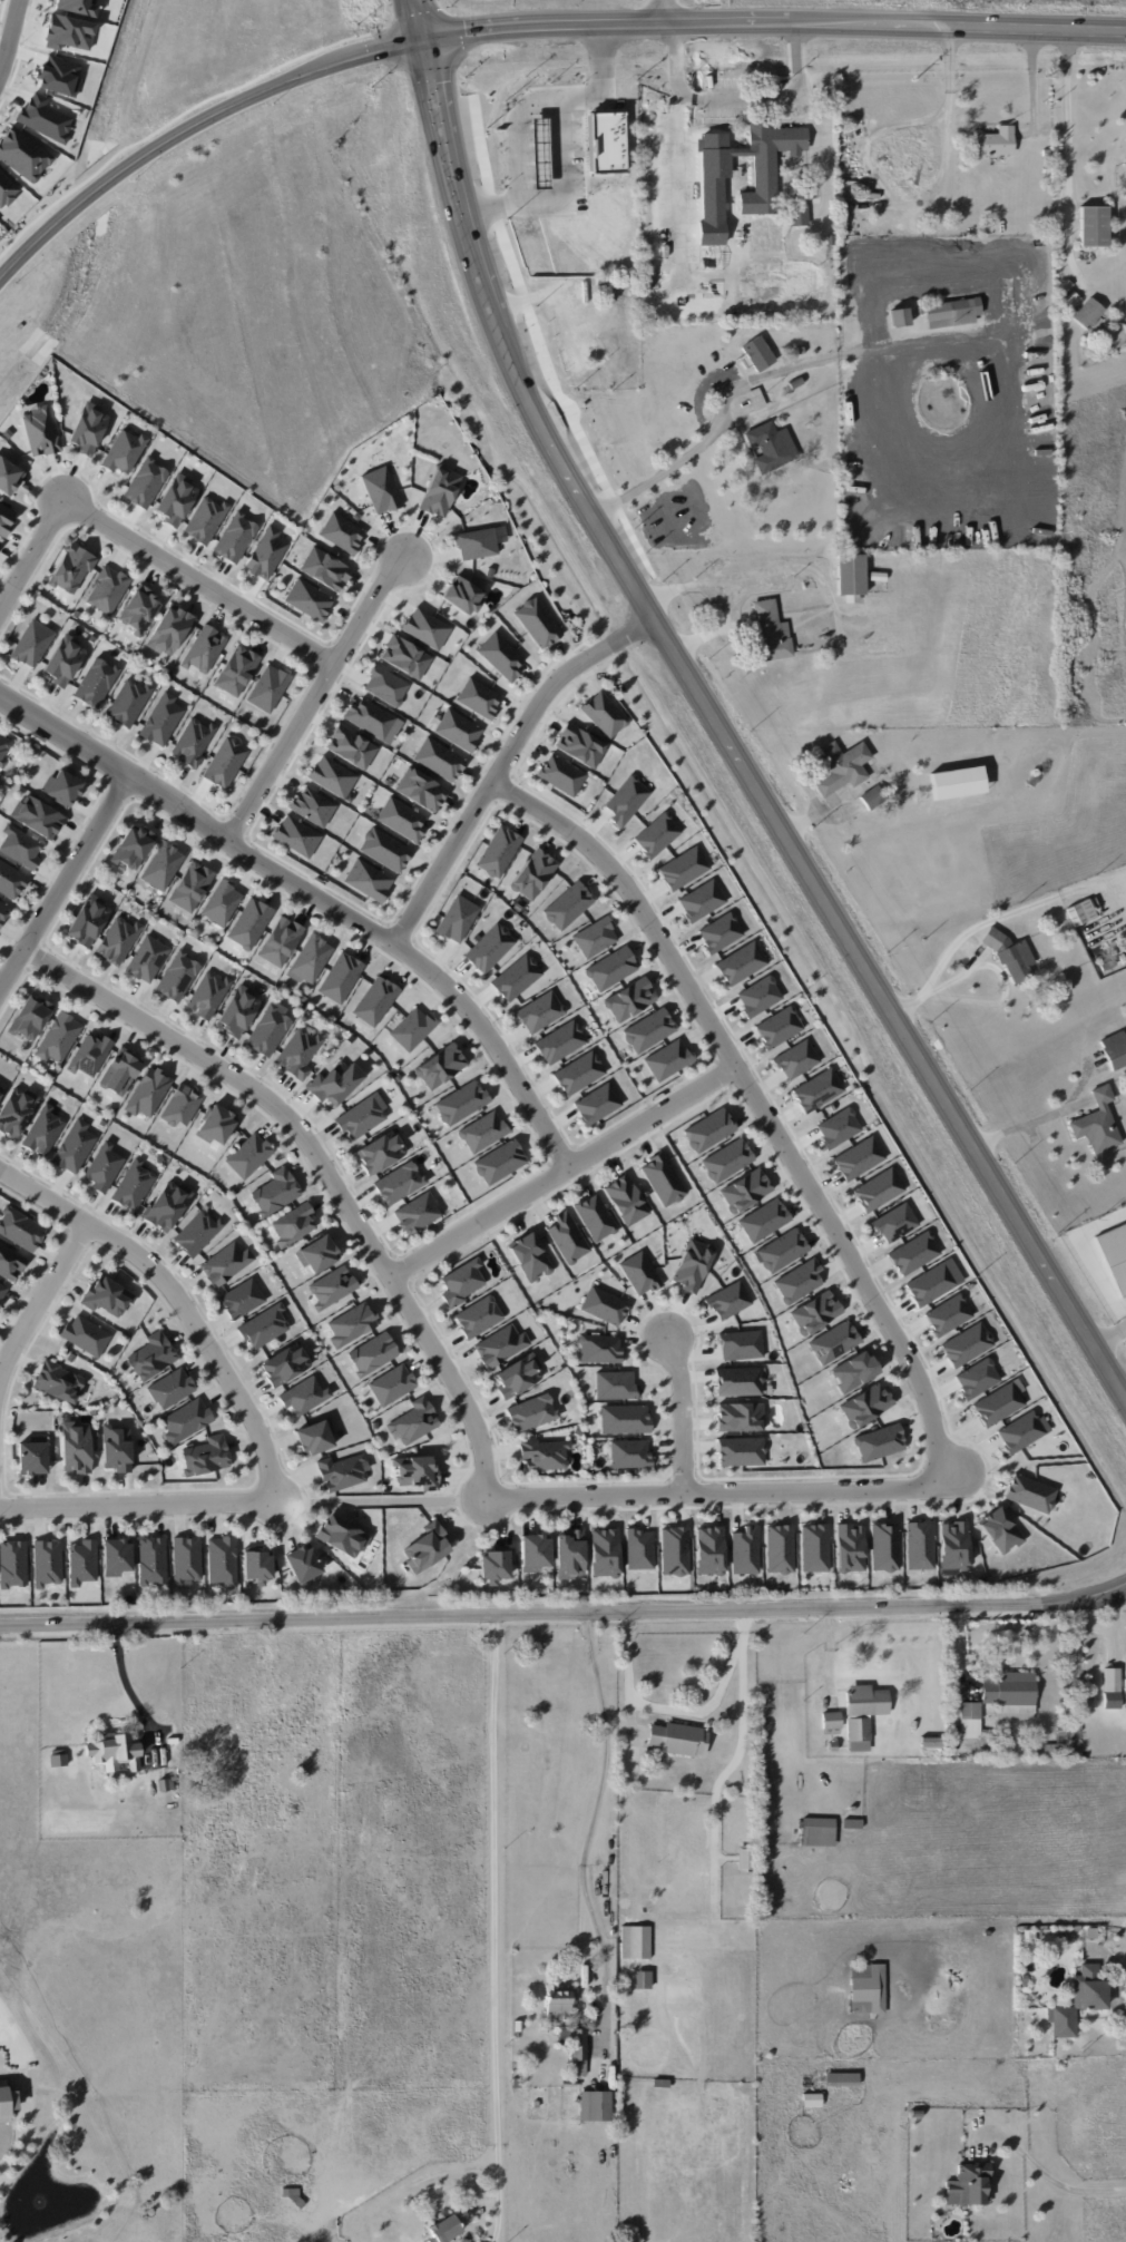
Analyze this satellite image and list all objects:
road: (664, 11)
road: (4, 19)
road: (773, 25)
traffic signals: (421, 36)
road: (1034, 80)
parking lot: (743, 98)
road: (736, 99)
road: (437, 107)
road: (557, 114)
road: (820, 116)
road: (193, 126)
building: (1125, 131)
road: (515, 133)
parking lot: (820, 134)
building: (607, 141)
building: (995, 141)
building: (539, 153)
gas station: (539, 153)
road: (1068, 157)
building: (767, 163)
building: (7, 189)
road: (488, 206)
building: (797, 213)
building: (1093, 225)
building: (830, 239)
building: (952, 312)
building: (1087, 313)
building: (899, 316)
building: (757, 353)
road: (768, 373)
building: (87, 428)
building: (39, 432)
building: (771, 446)
building: (123, 451)
building: (9, 476)
building: (145, 482)
building: (380, 490)
building: (439, 491)
building: (176, 499)
building: (6, 518)
building: (205, 519)
building: (341, 532)
building: (235, 537)
building: (0, 542)
building: (476, 544)
road: (30, 547)
building: (265, 552)
building: (71, 569)
building: (324, 569)
building: (850, 577)
road: (197, 578)
building: (107, 589)
building: (462, 595)
building: (307, 599)
building: (138, 609)
building: (537, 623)
building: (425, 628)
building: (169, 629)
building: (770, 632)
building: (31, 643)
building: (204, 649)
building: (404, 656)
building: (500, 656)
building: (63, 660)
building: (236, 670)
building: (96, 682)
building: (385, 685)
building: (267, 688)
road: (313, 694)
building: (478, 697)
building: (128, 702)
building: (604, 714)
building: (370, 717)
building: (161, 719)
building: (458, 730)
building: (193, 741)
building: (579, 745)
building: (4, 746)
building: (351, 746)
road: (502, 757)
building: (439, 760)
building: (225, 762)
building: (842, 766)
building: (560, 774)
building: (332, 776)
building: (957, 782)
building: (61, 787)
building: (420, 789)
building: (872, 796)
building: (626, 800)
building: (312, 806)
building: (37, 816)
road: (773, 818)
building: (401, 819)
building: (656, 834)
building: (296, 835)
building: (20, 846)
building: (133, 846)
building: (384, 850)
building: (498, 851)
building: (161, 865)
building: (683, 868)
building: (532, 874)
building: (10, 880)
building: (368, 880)
road: (65, 881)
building: (190, 887)
road: (317, 893)
building: (701, 900)
building: (222, 902)
building: (567, 905)
building: (3, 910)
building: (1080, 912)
building: (457, 919)
building: (88, 920)
building: (249, 923)
road: (972, 929)
building: (719, 932)
building: (595, 937)
building: (117, 940)
building: (280, 941)
building: (489, 948)
building: (1011, 957)
building: (147, 959)
building: (310, 959)
building: (741, 962)
building: (610, 968)
building: (177, 976)
building: (516, 977)
building: (340, 978)
building: (207, 995)
building: (758, 996)
building: (629, 999)
building: (375, 1000)
building: (237, 1010)
building: (540, 1011)
building: (30, 1017)
building: (779, 1027)
building: (411, 1029)
building: (267, 1030)
building: (648, 1030)
building: (58, 1037)
building: (560, 1041)
building: (1114, 1049)
building: (297, 1053)
building: (89, 1055)
building: (667, 1059)
building: (796, 1059)
building: (440, 1066)
building: (120, 1071)
building: (579, 1073)
building: (334, 1083)
building: (817, 1090)
building: (0, 1093)
building: (148, 1093)
building: (461, 1103)
building: (596, 1104)
building: (180, 1105)
road: (758, 1105)
building: (16, 1110)
building: (362, 1116)
road: (1029, 1123)
building: (1097, 1123)
building: (215, 1124)
building: (838, 1127)
building: (708, 1129)
building: (43, 1130)
building: (482, 1132)
building: (74, 1146)
building: (380, 1152)
building: (248, 1155)
building: (859, 1158)
building: (726, 1159)
building: (499, 1162)
road: (320, 1165)
building: (104, 1166)
road: (559, 1166)
building: (663, 1179)
building: (399, 1183)
building: (133, 1185)
building: (745, 1189)
building: (878, 1189)
building: (275, 1192)
building: (626, 1200)
building: (167, 1205)
building: (417, 1213)
building: (595, 1216)
building: (763, 1220)
building: (894, 1222)
building: (293, 1224)
building: (20, 1228)
building: (197, 1232)
building: (567, 1237)
building: (781, 1250)
building: (913, 1253)
building: (317, 1254)
building: (1114, 1255)
building: (529, 1256)
building: (10, 1262)
building: (225, 1263)
building: (692, 1264)
building: (639, 1273)
building: (461, 1281)
building: (797, 1281)
building: (933, 1282)
building: (331, 1288)
building: (2, 1291)
road: (39, 1295)
building: (107, 1295)
building: (242, 1299)
road: (179, 1300)
building: (728, 1300)
building: (604, 1305)
building: (814, 1312)
building: (948, 1314)
building: (478, 1316)
building: (351, 1324)
building: (264, 1326)
building: (85, 1335)
road: (1109, 1337)
building: (833, 1342)
building: (741, 1344)
building: (966, 1344)
building: (500, 1345)
building: (598, 1349)
building: (372, 1353)
building: (151, 1355)
building: (284, 1364)
building: (853, 1371)
building: (518, 1375)
building: (977, 1378)
building: (58, 1381)
building: (738, 1381)
building: (391, 1384)
building: (615, 1384)
building: (170, 1388)
building: (303, 1396)
building: (865, 1404)
building: (998, 1404)
road: (682, 1411)
building: (531, 1412)
building: (740, 1417)
building: (624, 1419)
building: (185, 1420)
building: (413, 1421)
building: (1022, 1431)
building: (314, 1437)
building: (879, 1442)
building: (75, 1447)
building: (116, 1448)
building: (740, 1451)
building: (544, 1453)
building: (628, 1453)
building: (32, 1456)
building: (205, 1456)
building: (342, 1471)
building: (415, 1471)
road: (725, 1490)
building: (1030, 1492)
road: (380, 1499)
road: (137, 1502)
building: (999, 1530)
building: (341, 1536)
building: (919, 1545)
building: (953, 1545)
building: (884, 1546)
building: (425, 1547)
building: (814, 1547)
building: (849, 1547)
building: (639, 1548)
building: (780, 1548)
building: (674, 1550)
building: (709, 1550)
building: (745, 1550)
building: (533, 1551)
building: (604, 1553)
building: (570, 1554)
building: (116, 1556)
building: (151, 1560)
building: (186, 1560)
building: (222, 1560)
building: (81, 1561)
building: (47, 1563)
building: (496, 1563)
building: (12, 1564)
building: (256, 1565)
building: (302, 1565)
road: (564, 1615)
road: (125, 1682)
building: (1110, 1687)
building: (1010, 1694)
building: (1125, 1697)
road: (682, 1710)
building: (862, 1714)
building: (831, 1720)
building: (969, 1720)
building: (678, 1739)
building: (929, 1741)
building: (115, 1753)
road: (586, 1824)
building: (817, 1831)
road: (1045, 1919)
road: (493, 1929)
building: (635, 1941)
road: (1119, 1964)
building: (866, 1988)
building: (1078, 2000)
building: (559, 2001)
building: (574, 2043)
building: (841, 2078)
building: (12, 2099)
helipad: (339, 2101)
building: (3, 2103)
building: (595, 2105)
building: (968, 2184)
road: (1059, 2185)
building: (443, 2229)

